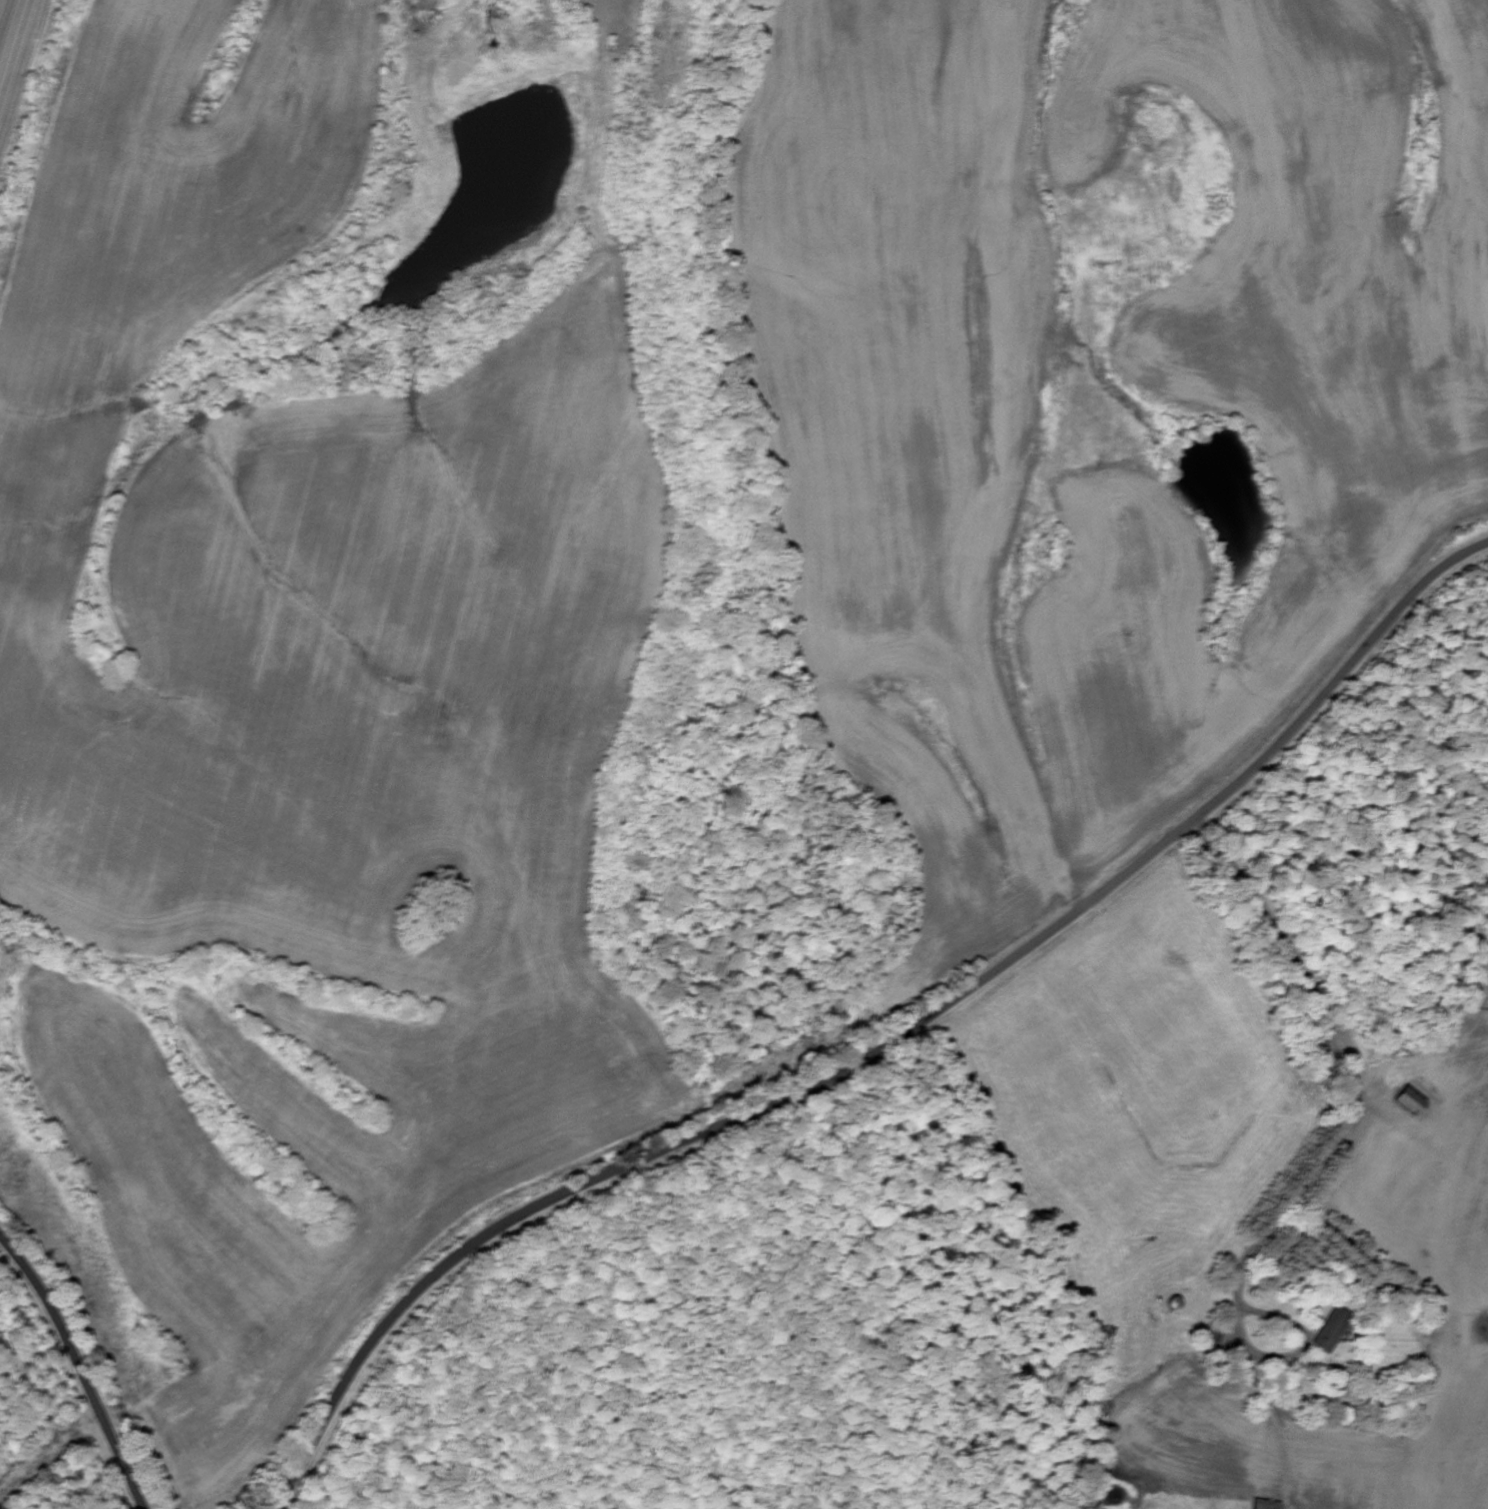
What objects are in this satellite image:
road: (1332, 679)
road: (833, 1076)
road: (1363, 1079)
building: (1331, 1330)
road: (79, 1368)
road: (350, 1376)
building: (1266, 1505)

